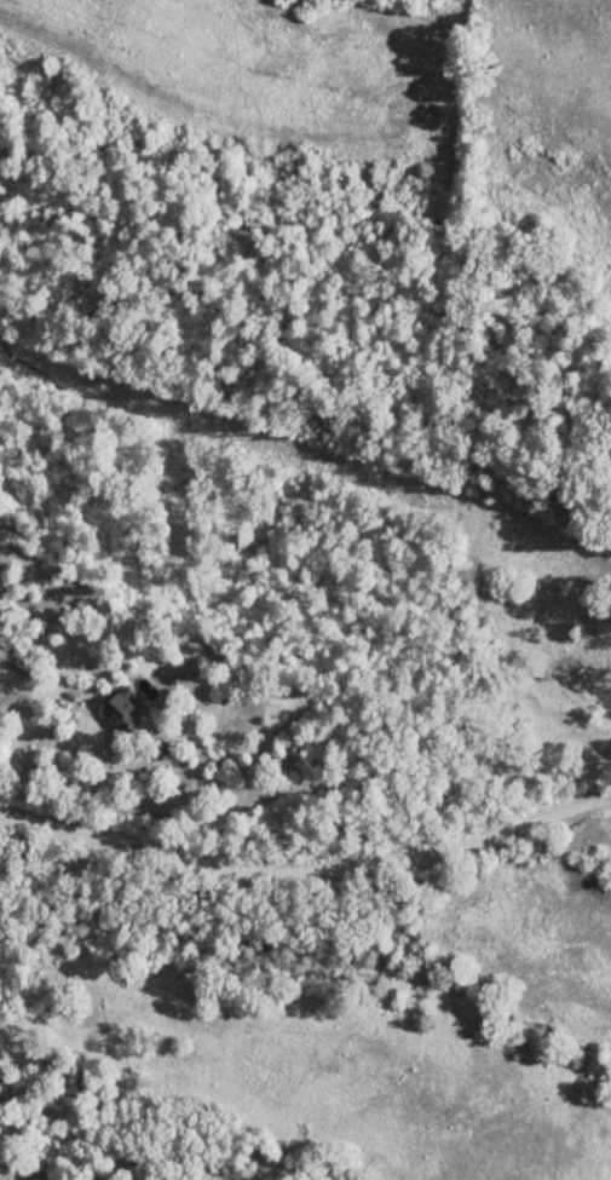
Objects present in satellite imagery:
building: (126, 707)
road: (307, 864)

